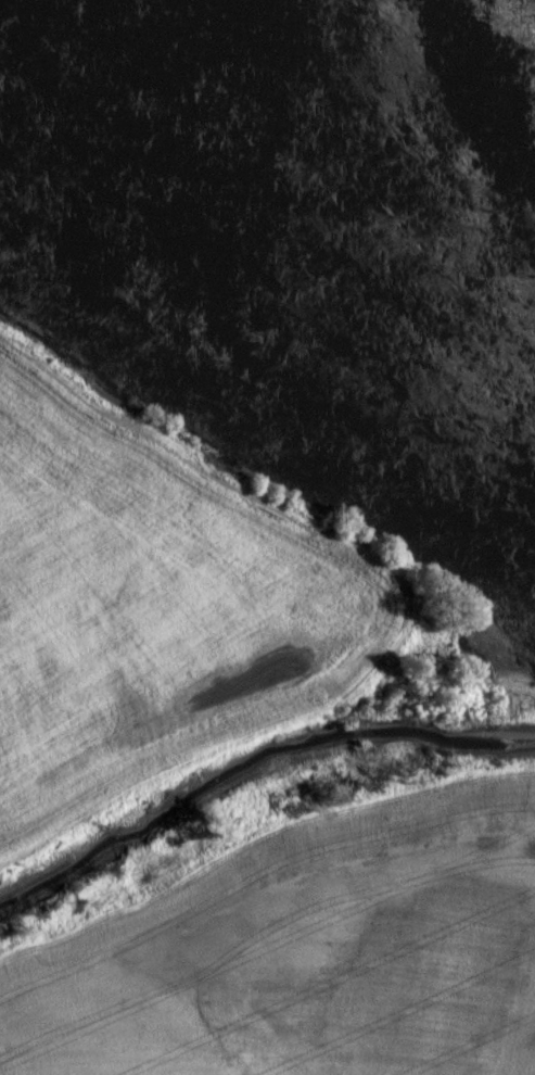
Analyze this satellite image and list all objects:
river: (318, 113)

